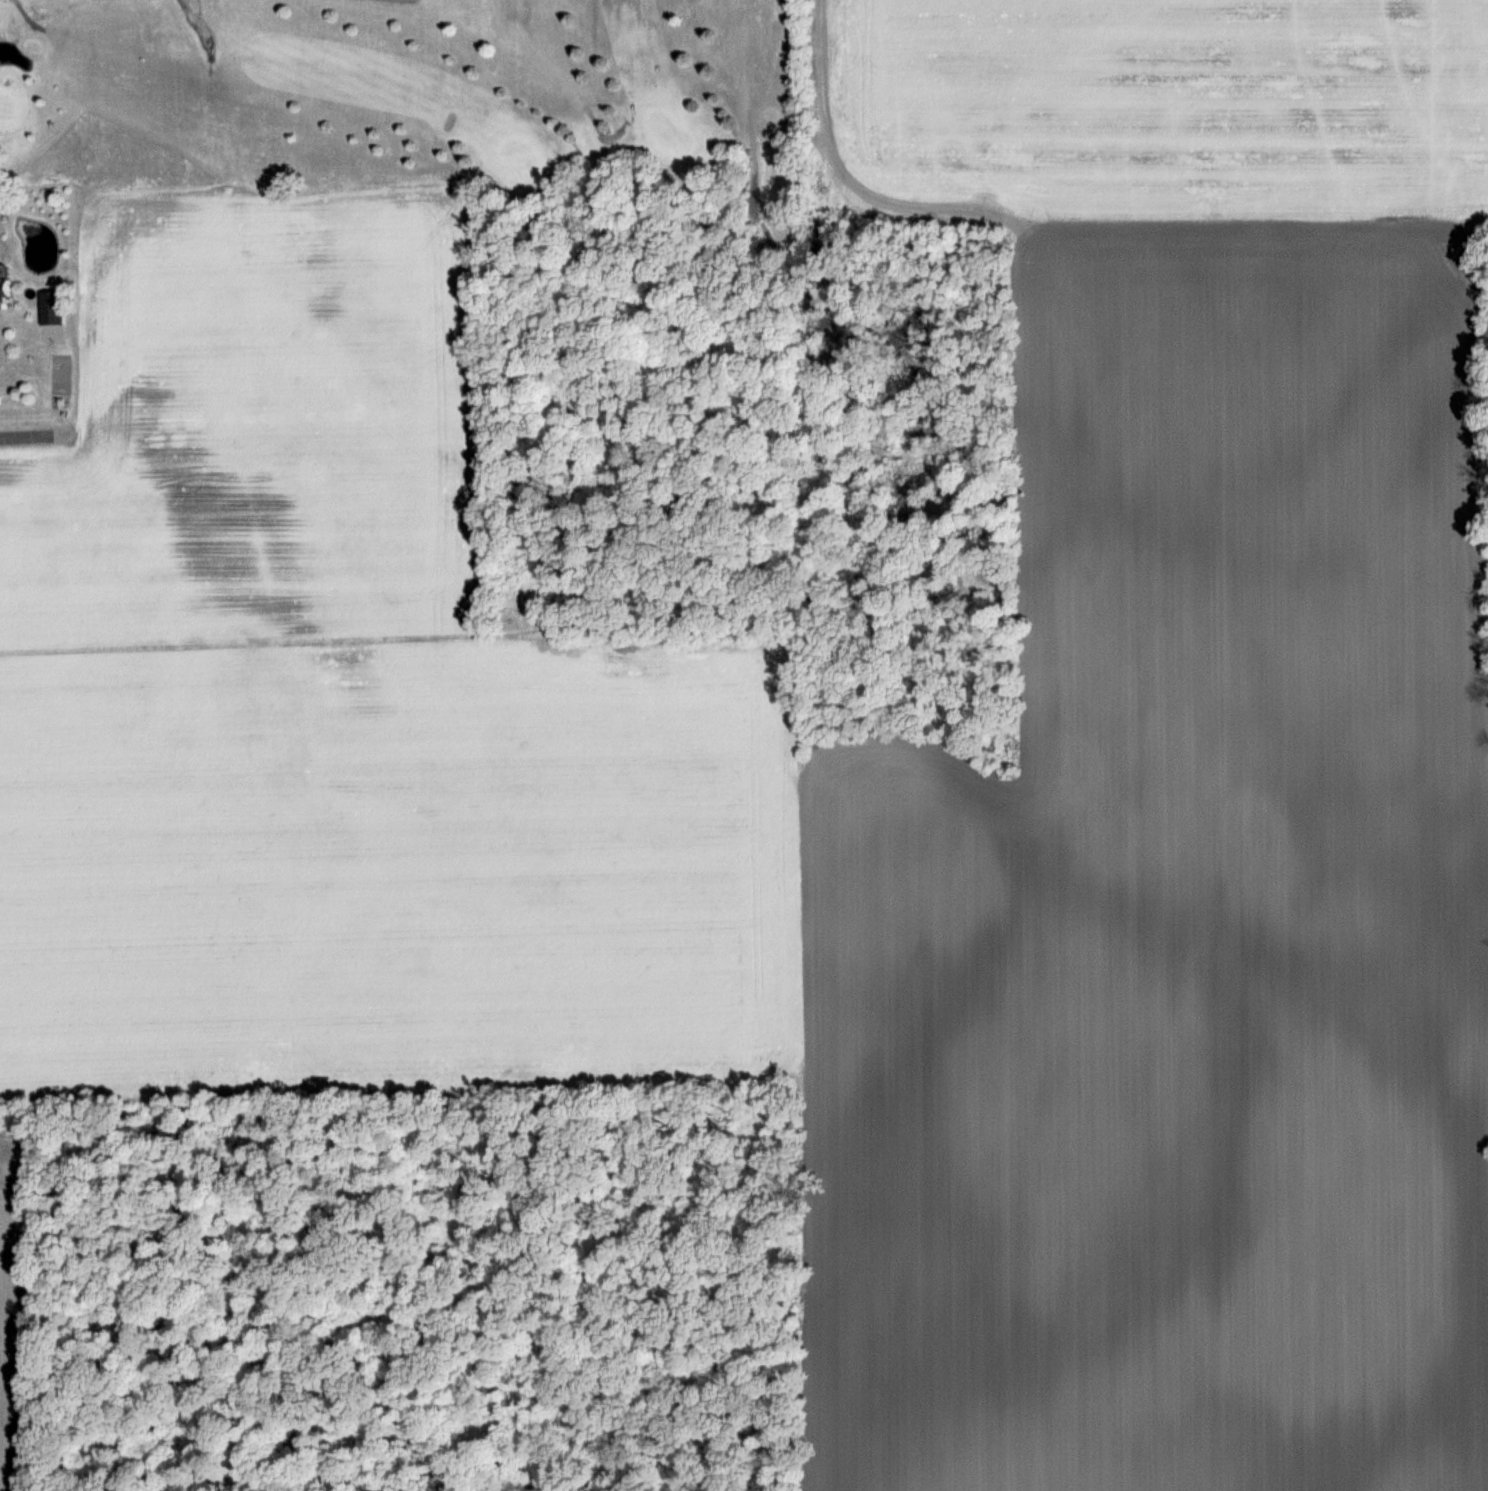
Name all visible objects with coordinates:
park: (396, 82)
building: (3, 287)
road: (27, 435)

